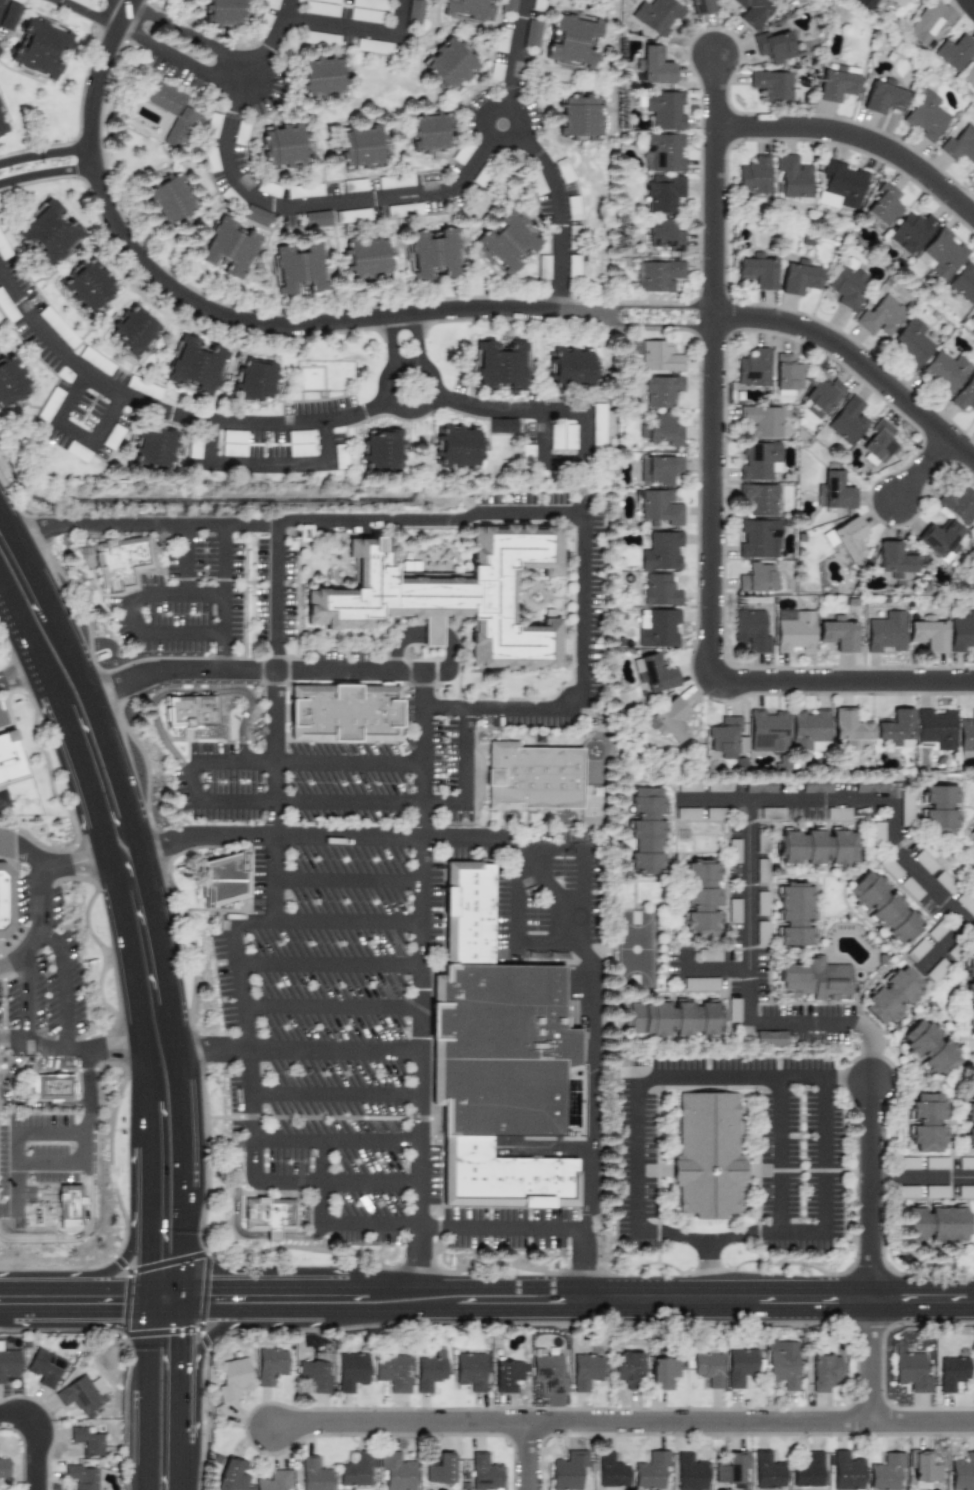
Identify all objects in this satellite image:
building: (901, 2)
building: (865, 3)
road: (971, 3)
building: (511, 6)
building: (701, 6)
road: (3, 7)
building: (471, 7)
building: (228, 10)
building: (418, 12)
building: (752, 12)
building: (657, 15)
building: (928, 21)
street lamp: (724, 28)
road: (360, 31)
building: (536, 32)
road: (189, 34)
road: (275, 35)
building: (575, 39)
road: (149, 43)
building: (44, 46)
building: (773, 46)
building: (954, 51)
road: (515, 62)
building: (451, 64)
building: (654, 65)
building: (325, 74)
building: (968, 76)
building: (836, 85)
building: (772, 86)
building: (883, 97)
building: (174, 109)
building: (665, 109)
street lamp: (813, 112)
building: (585, 115)
building: (926, 115)
building: (3, 122)
street lamp: (702, 131)
building: (433, 132)
road: (857, 136)
building: (960, 144)
building: (287, 145)
building: (364, 145)
building: (664, 151)
road: (47, 152)
building: (754, 175)
building: (793, 176)
road: (48, 177)
building: (843, 183)
building: (663, 193)
street lamp: (925, 194)
building: (173, 197)
road: (324, 204)
building: (882, 206)
road: (561, 209)
building: (261, 214)
building: (322, 219)
building: (51, 232)
building: (911, 232)
building: (664, 234)
building: (512, 242)
building: (231, 246)
building: (941, 253)
building: (438, 254)
building: (372, 257)
street lamp: (700, 258)
building: (303, 267)
building: (757, 271)
building: (661, 275)
building: (799, 278)
building: (963, 282)
building: (90, 284)
building: (847, 285)
street lamp: (745, 302)
road: (664, 307)
road: (230, 315)
building: (881, 316)
road: (664, 325)
building: (138, 328)
building: (911, 343)
road: (419, 355)
building: (660, 356)
street lamp: (827, 358)
road: (397, 359)
road: (858, 359)
road: (410, 366)
building: (198, 367)
building: (502, 367)
building: (754, 368)
building: (571, 369)
building: (945, 371)
building: (786, 372)
street lamp: (699, 376)
building: (257, 379)
building: (12, 382)
building: (662, 390)
building: (964, 395)
building: (823, 396)
street lamp: (942, 410)
road: (510, 412)
road: (165, 413)
road: (414, 414)
building: (847, 420)
building: (762, 421)
building: (662, 430)
road: (80, 435)
building: (877, 443)
building: (461, 446)
building: (159, 449)
building: (386, 450)
building: (758, 460)
road: (567, 465)
road: (303, 468)
road: (924, 469)
road: (235, 470)
building: (659, 470)
street lamp: (730, 482)
building: (834, 491)
road: (714, 496)
building: (759, 498)
road: (455, 499)
building: (958, 503)
building: (659, 507)
road: (475, 515)
street lamp: (886, 526)
building: (849, 538)
building: (759, 539)
building: (940, 539)
building: (829, 540)
road: (19, 544)
building: (661, 551)
building: (893, 558)
road: (188, 560)
building: (120, 564)
building: (757, 579)
building: (660, 590)
building: (460, 592)
road: (225, 598)
road: (551, 598)
road: (277, 599)
street lamp: (698, 607)
road: (136, 617)
building: (657, 627)
building: (751, 630)
building: (794, 630)
building: (885, 632)
building: (961, 632)
road: (436, 633)
building: (838, 633)
building: (928, 633)
street lamp: (777, 666)
building: (637, 670)
building: (656, 673)
road: (18, 678)
road: (194, 693)
street lamp: (918, 697)
street lamp: (27, 701)
building: (192, 714)
building: (342, 714)
road: (2, 715)
building: (671, 720)
building: (849, 727)
building: (809, 728)
building: (936, 728)
building: (897, 729)
building: (768, 730)
building: (966, 734)
building: (727, 737)
building: (9, 757)
building: (536, 779)
building: (689, 785)
building: (718, 785)
building: (817, 785)
building: (867, 785)
building: (760, 786)
road: (866, 804)
road: (240, 805)
building: (906, 806)
building: (942, 812)
building: (687, 813)
building: (772, 813)
road: (427, 814)
road: (110, 825)
building: (647, 830)
building: (877, 831)
building: (972, 833)
building: (973, 835)
building: (973, 841)
building: (820, 850)
road: (26, 851)
building: (734, 851)
road: (582, 852)
building: (924, 862)
road: (533, 864)
building: (890, 868)
building: (966, 869)
road: (155, 876)
building: (224, 880)
building: (945, 882)
road: (351, 883)
road: (139, 885)
building: (911, 888)
building: (8, 901)
building: (703, 902)
building: (966, 903)
road: (44, 905)
building: (886, 909)
building: (467, 915)
building: (734, 915)
building: (797, 916)
road: (517, 930)
road: (259, 931)
road: (351, 931)
road: (117, 933)
road: (945, 949)
building: (917, 950)
road: (332, 969)
road: (713, 970)
building: (816, 981)
road: (68, 988)
building: (895, 998)
road: (748, 1000)
building: (972, 1000)
road: (28, 1001)
road: (335, 1007)
building: (733, 1010)
building: (675, 1020)
building: (770, 1038)
road: (72, 1049)
road: (302, 1049)
building: (932, 1050)
building: (499, 1051)
building: (970, 1056)
road: (641, 1079)
building: (57, 1087)
road: (338, 1097)
road: (41, 1104)
building: (973, 1109)
road: (86, 1116)
building: (928, 1124)
road: (17, 1132)
road: (338, 1141)
road: (782, 1154)
building: (708, 1157)
road: (66, 1160)
building: (910, 1162)
building: (936, 1163)
building: (503, 1178)
road: (923, 1179)
road: (338, 1183)
road: (873, 1190)
building: (934, 1191)
building: (966, 1191)
road: (237, 1196)
building: (68, 1204)
road: (17, 1205)
building: (269, 1218)
building: (939, 1225)
road: (330, 1226)
road: (535, 1228)
road: (815, 1230)
road: (304, 1240)
road: (271, 1241)
traffic signals: (150, 1258)
road: (93, 1275)
road: (385, 1288)
road: (75, 1289)
road: (167, 1289)
traffic signals: (214, 1289)
road: (150, 1300)
road: (184, 1300)
road: (779, 1300)
road: (385, 1310)
road: (5, 1311)
road: (80, 1312)
traffic signals: (117, 1312)
road: (167, 1312)
road: (217, 1333)
traffic signals: (184, 1343)
road: (184, 1347)
road: (874, 1360)
building: (270, 1365)
building: (708, 1366)
building: (741, 1366)
building: (45, 1367)
building: (629, 1369)
building: (784, 1369)
building: (430, 1370)
building: (351, 1371)
building: (471, 1371)
building: (586, 1371)
building: (912, 1371)
building: (394, 1372)
building: (549, 1372)
building: (664, 1372)
building: (825, 1372)
building: (952, 1372)
building: (315, 1375)
building: (507, 1375)
building: (233, 1378)
building: (82, 1394)
road: (147, 1400)
road: (624, 1422)
road: (181, 1436)
road: (38, 1437)
building: (87, 1440)
road: (530, 1456)
building: (923, 1466)
building: (4, 1468)
building: (440, 1468)
building: (731, 1468)
building: (357, 1469)
building: (568, 1470)
building: (651, 1470)
building: (808, 1470)
building: (396, 1471)
building: (611, 1471)
building: (767, 1471)
building: (846, 1471)
building: (484, 1472)
building: (690, 1472)
building: (886, 1472)
building: (962, 1473)
building: (232, 1474)
building: (315, 1475)
building: (82, 1476)
building: (274, 1480)

